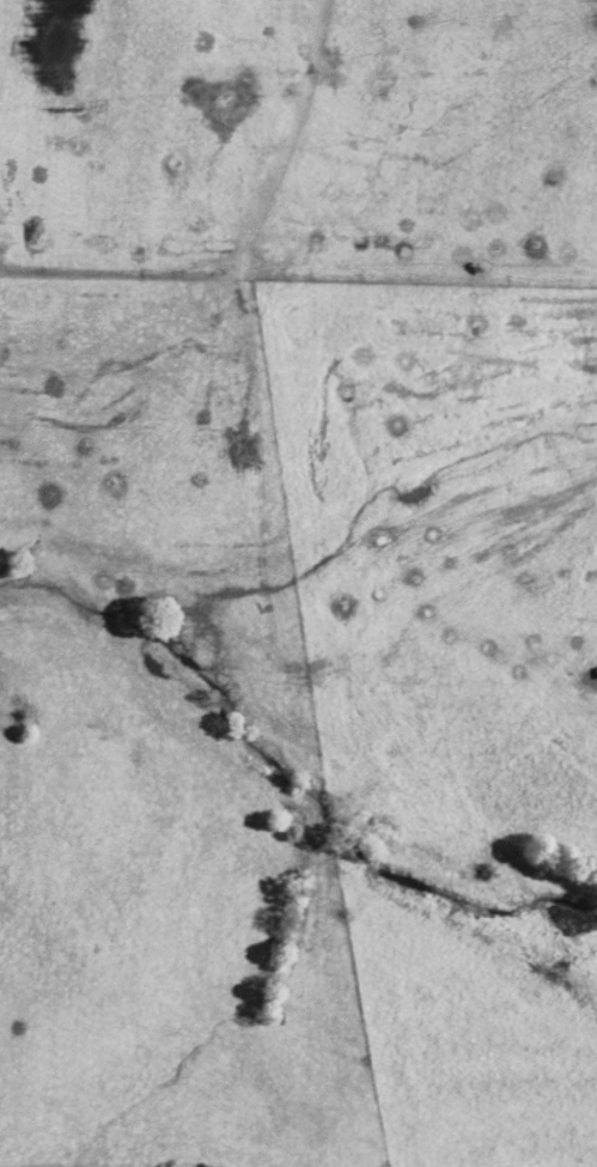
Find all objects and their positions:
crop: (301, 139)

